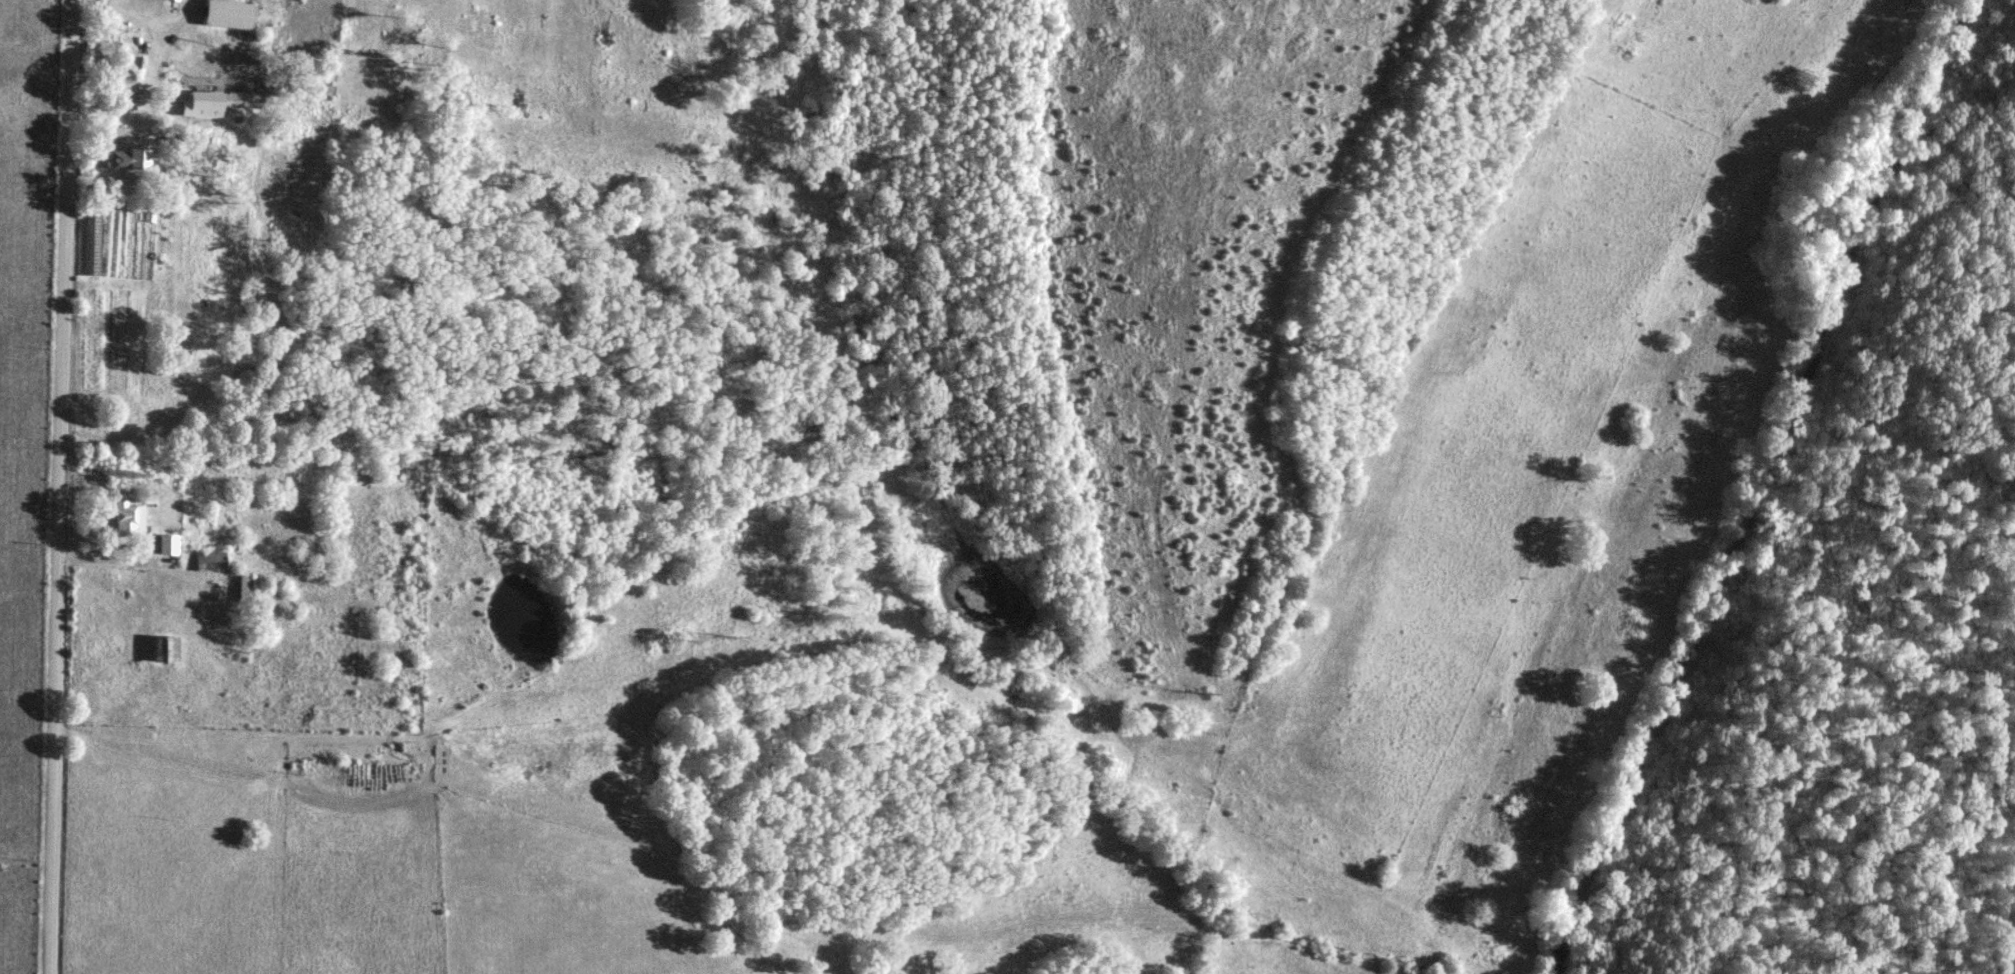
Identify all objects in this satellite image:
building: (230, 15)
building: (129, 85)
building: (243, 100)
building: (206, 101)
road: (102, 116)
building: (130, 160)
road: (62, 486)
building: (131, 520)
building: (169, 546)
road: (101, 554)
building: (209, 565)
building: (245, 588)

